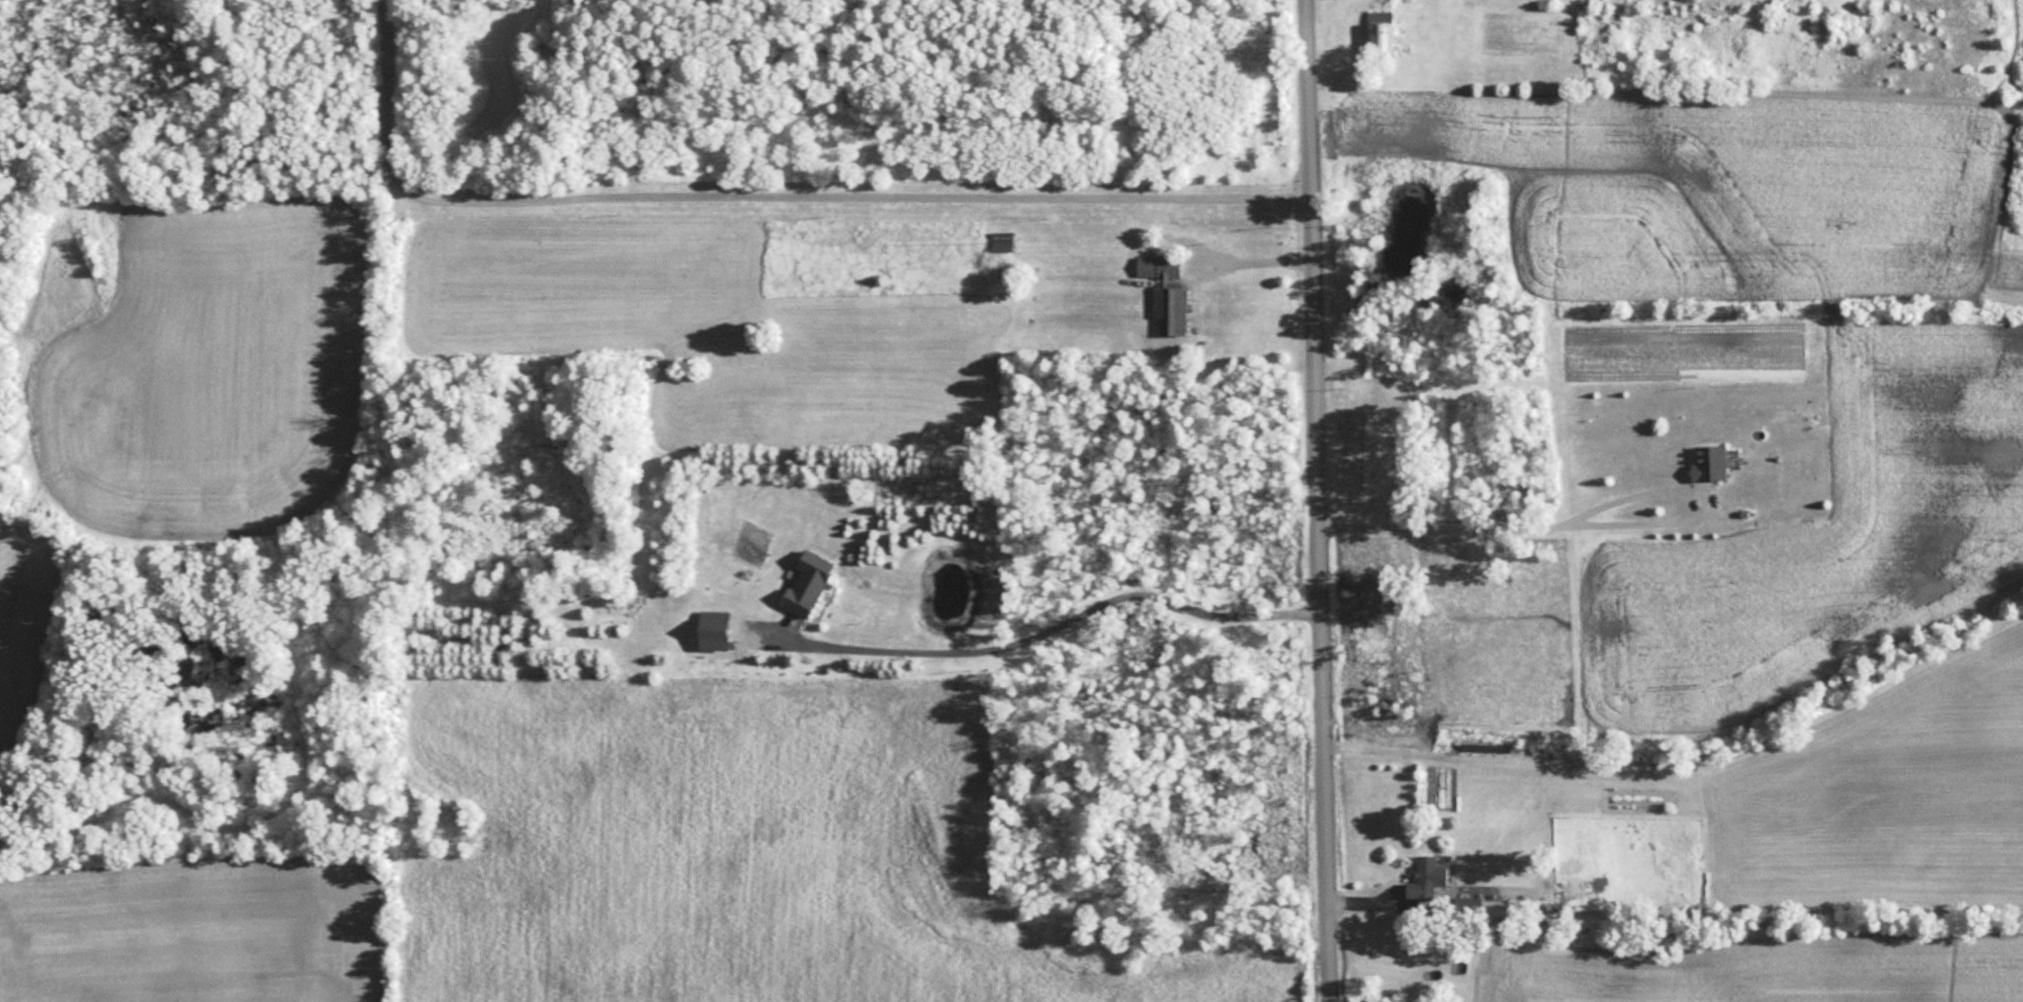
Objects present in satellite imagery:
building: (1379, 38)
road: (763, 186)
building: (1002, 241)
building: (1166, 289)
building: (1708, 461)
road: (1322, 500)
building: (807, 582)
building: (1425, 870)

